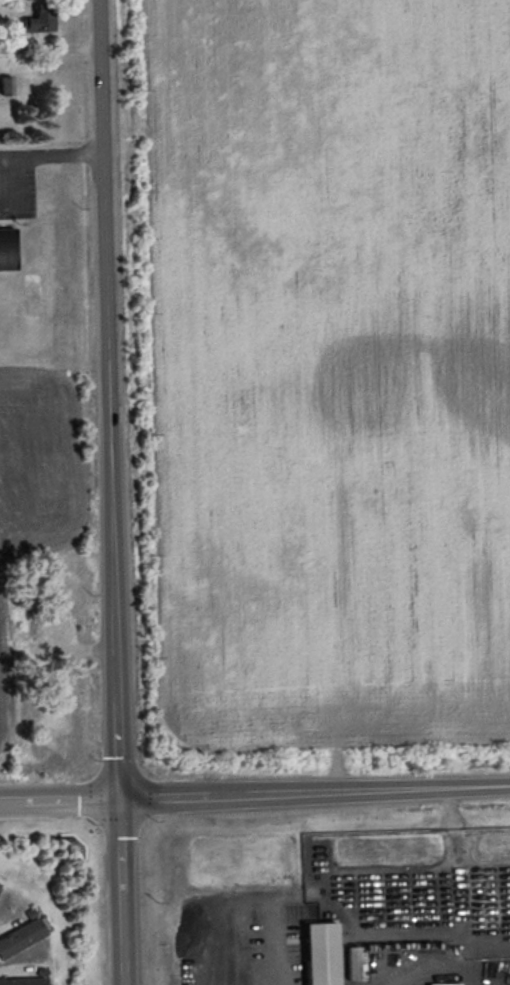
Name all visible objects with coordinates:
building: (39, 19)
road: (52, 48)
building: (6, 85)
road: (53, 156)
building: (7, 248)
airport: (41, 302)
road: (116, 492)
road: (359, 790)
road: (164, 796)
traffic signals: (119, 797)
road: (71, 799)
road: (12, 802)
road: (416, 868)
building: (0, 884)
road: (298, 896)
building: (21, 937)
road: (274, 941)
building: (320, 953)
building: (353, 962)
building: (23, 981)

